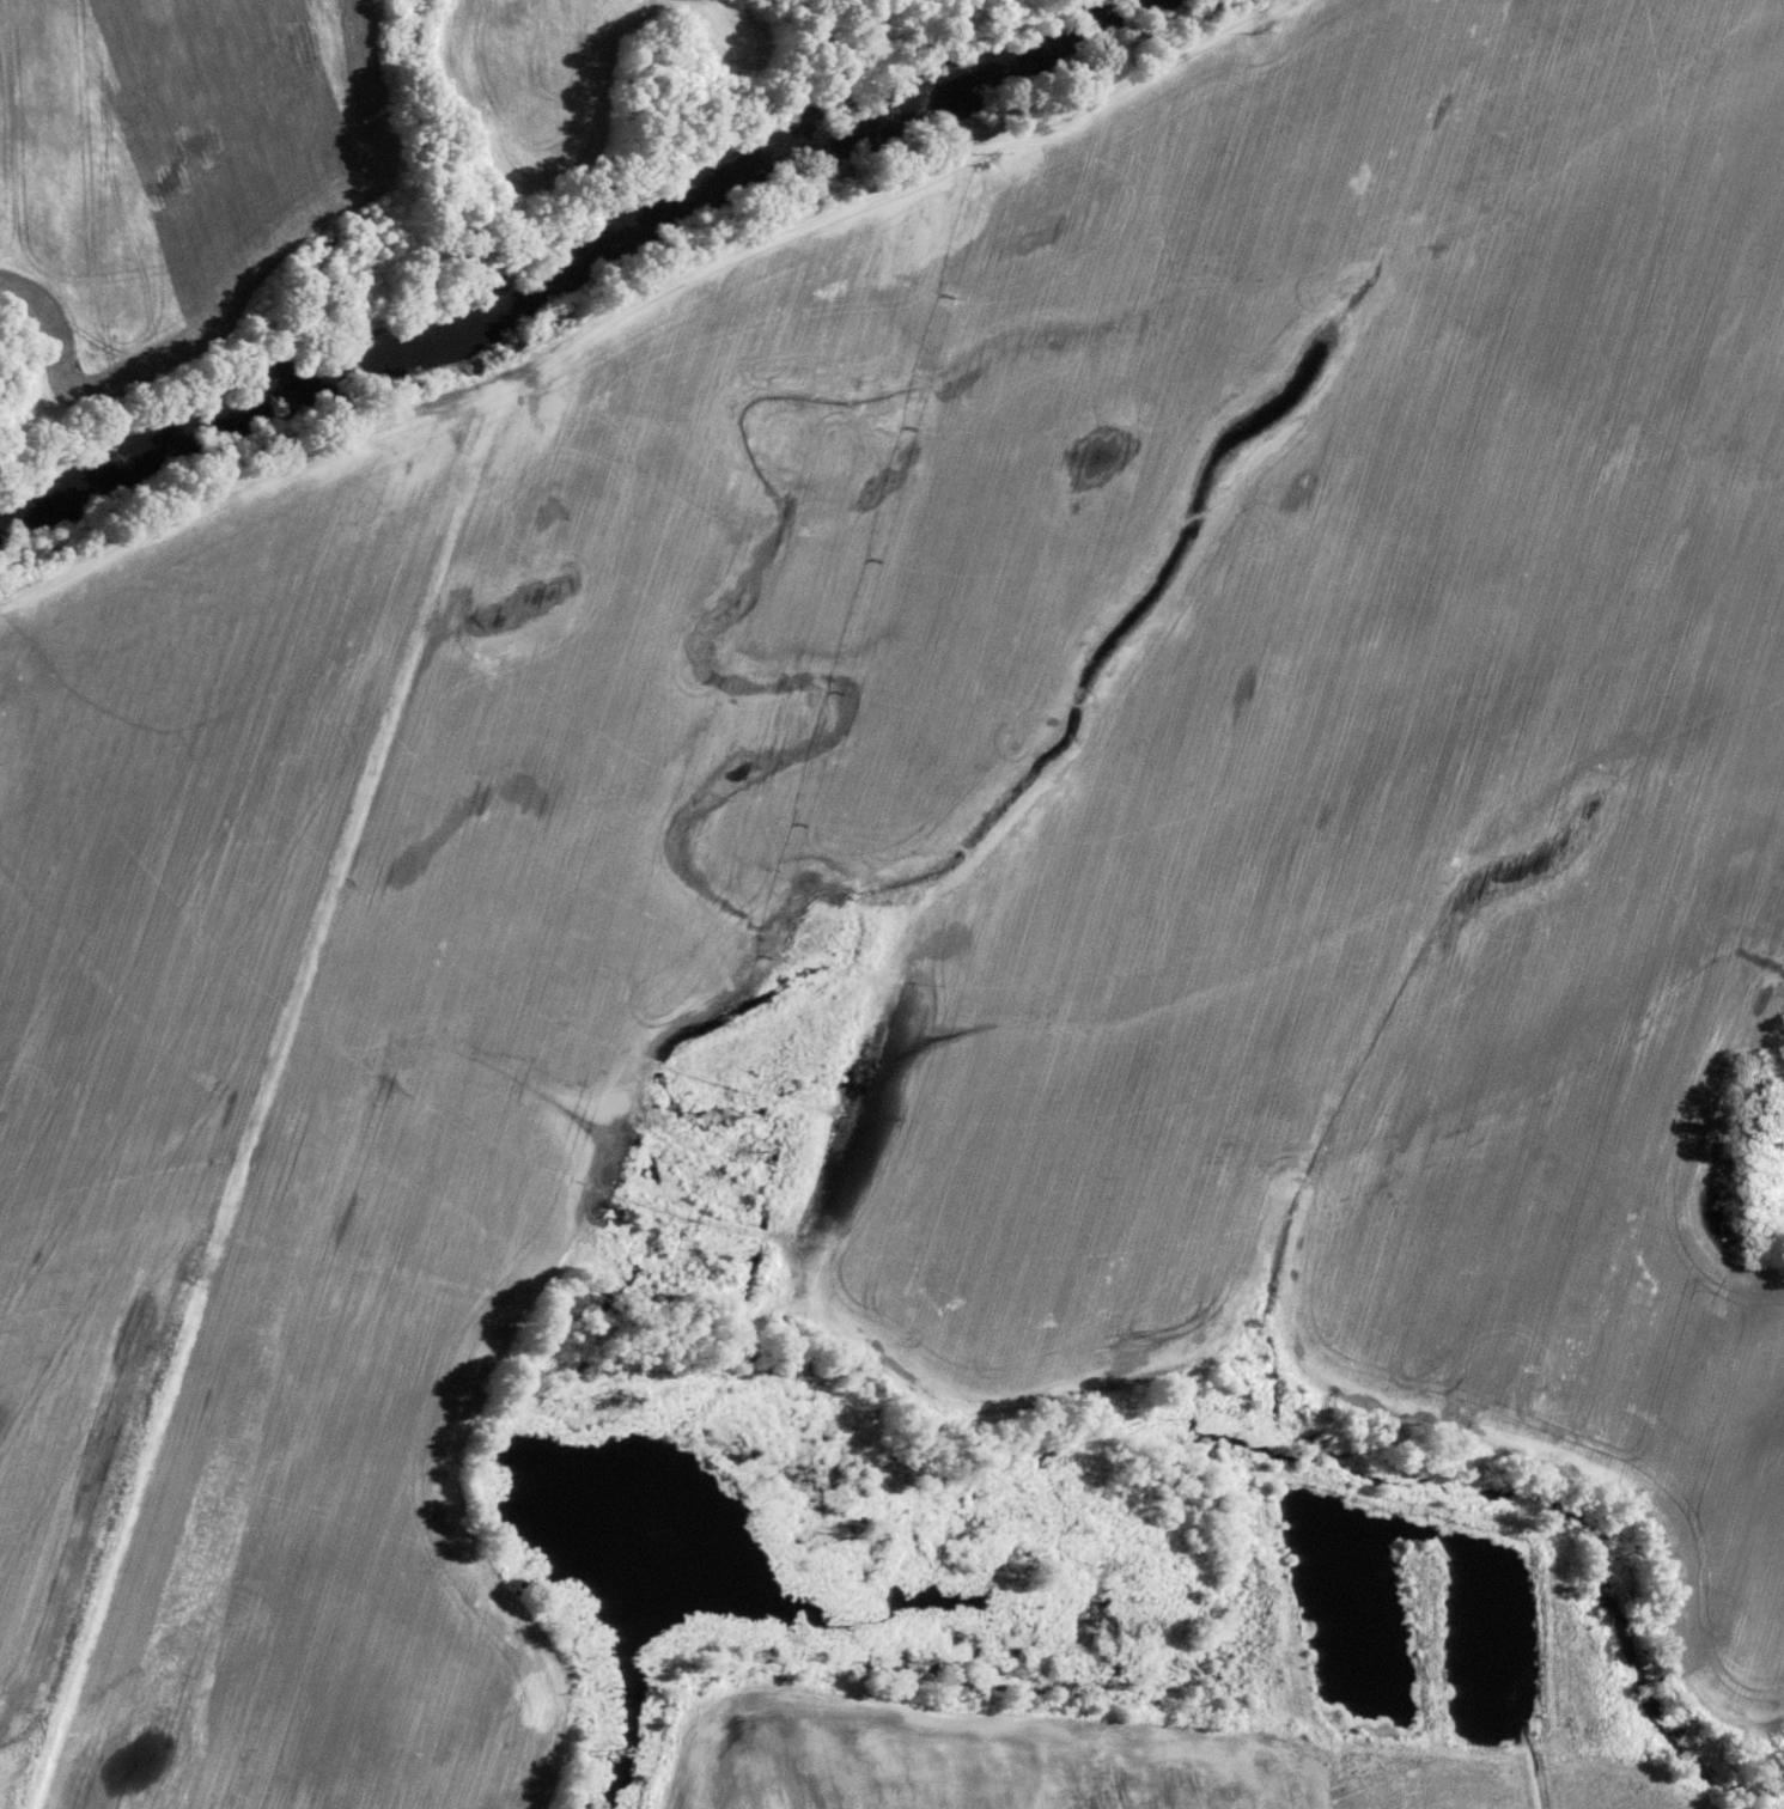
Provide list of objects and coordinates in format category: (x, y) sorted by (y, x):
river: (558, 268)

